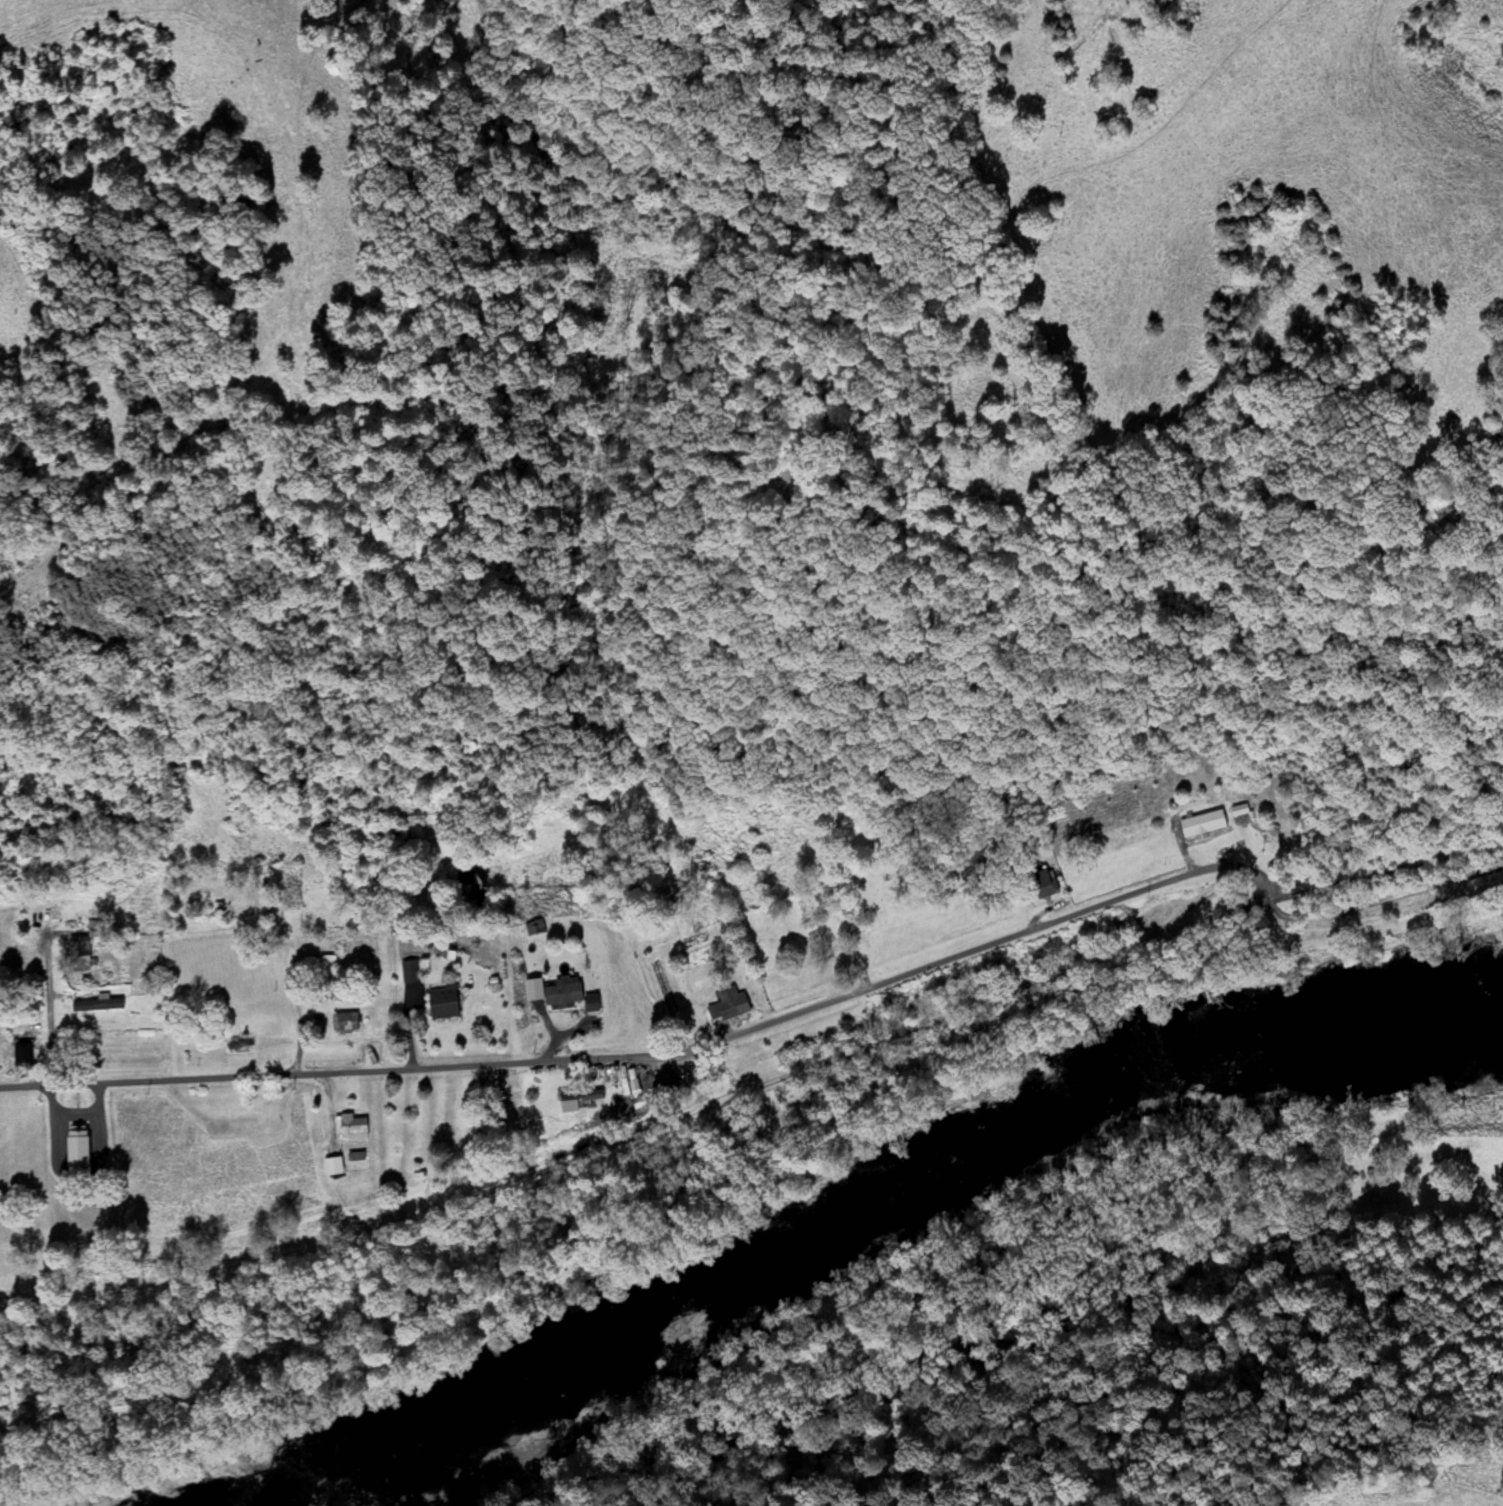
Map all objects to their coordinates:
building: (1201, 824)
road: (1388, 870)
building: (1042, 885)
building: (213, 899)
building: (78, 954)
building: (408, 972)
building: (261, 983)
building: (561, 995)
building: (442, 1002)
building: (727, 1006)
road: (44, 1016)
road: (775, 1017)
building: (343, 1023)
building: (239, 1044)
building: (21, 1055)
building: (576, 1100)
road: (643, 1126)
building: (351, 1128)
building: (75, 1150)
building: (332, 1167)
river: (848, 1217)

